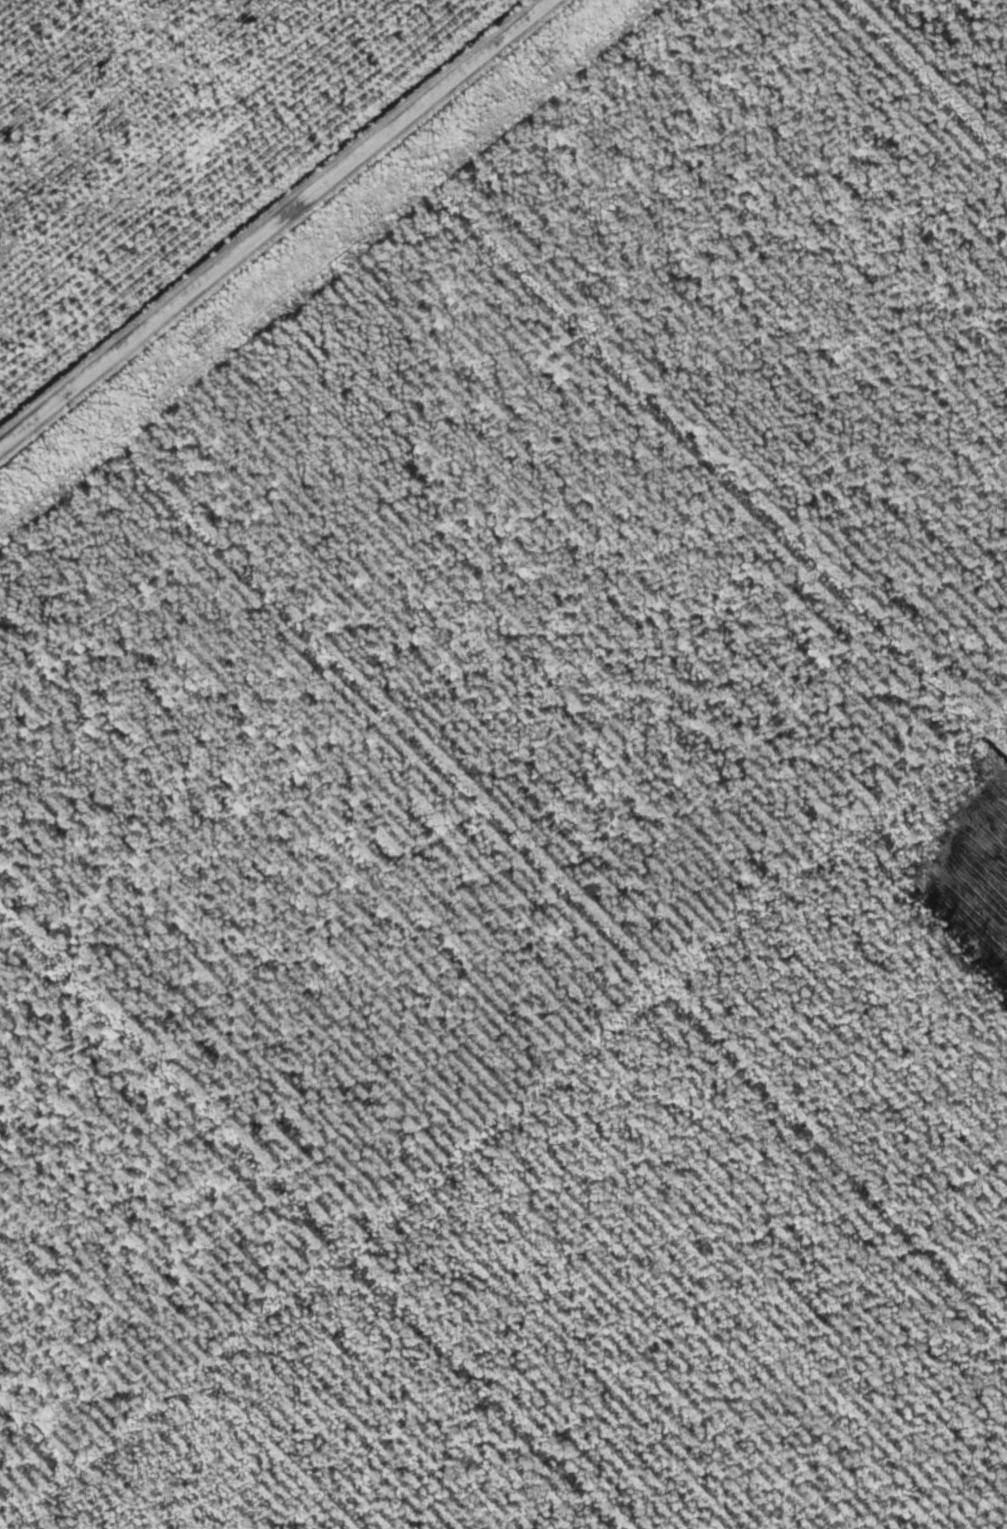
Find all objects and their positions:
power tower: (537, 69)
road: (276, 222)
power tower: (198, 347)

